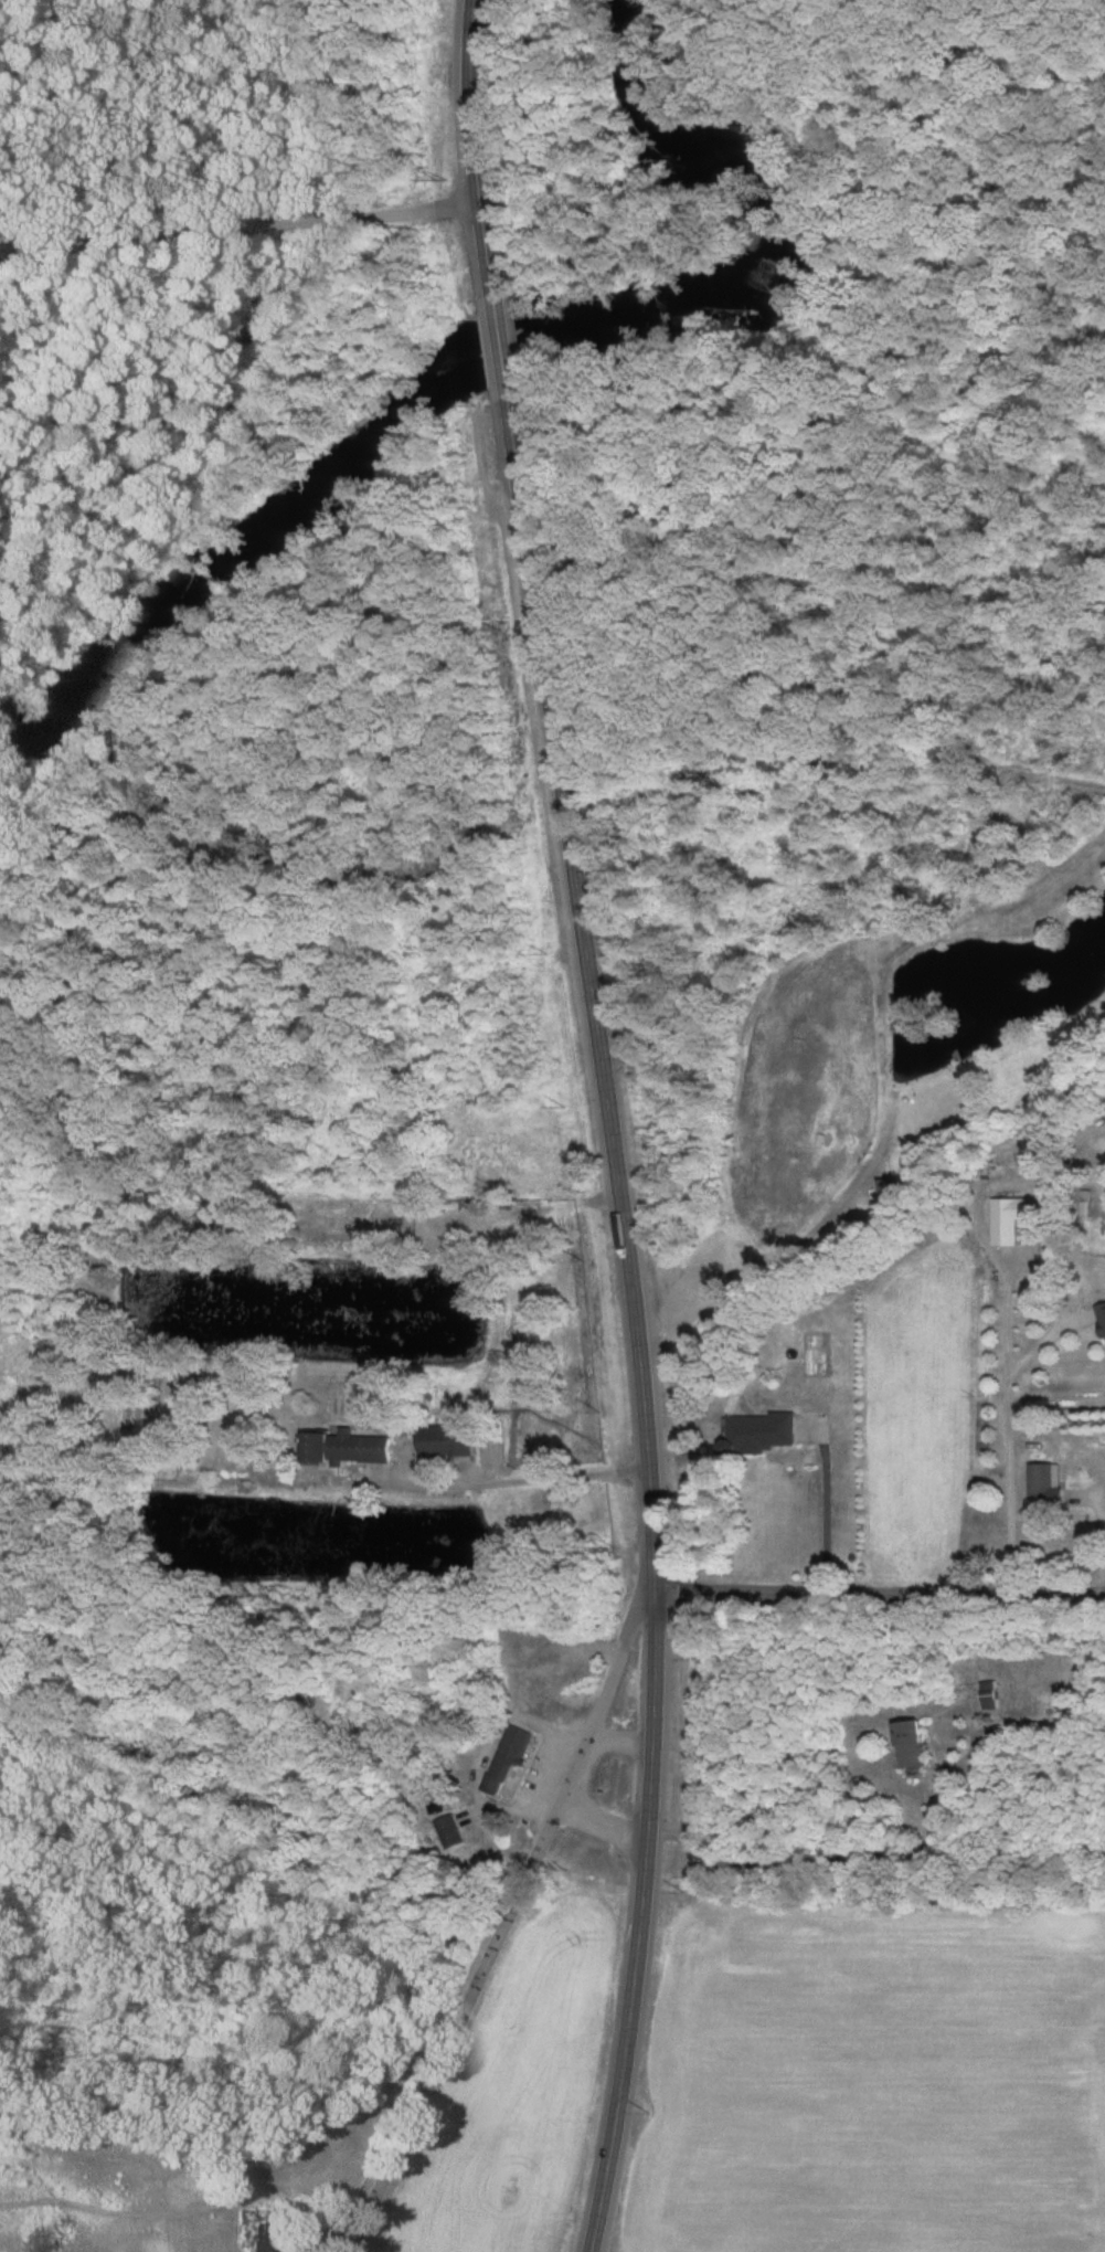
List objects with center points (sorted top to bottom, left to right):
road: (470, 144)
road: (238, 231)
road: (497, 347)
river: (501, 352)
road: (635, 1326)
road: (1009, 1445)
road: (502, 1470)
road: (826, 1509)
road: (879, 1594)
road: (616, 1737)
road: (601, 1822)
road: (808, 1859)
road: (504, 1923)

